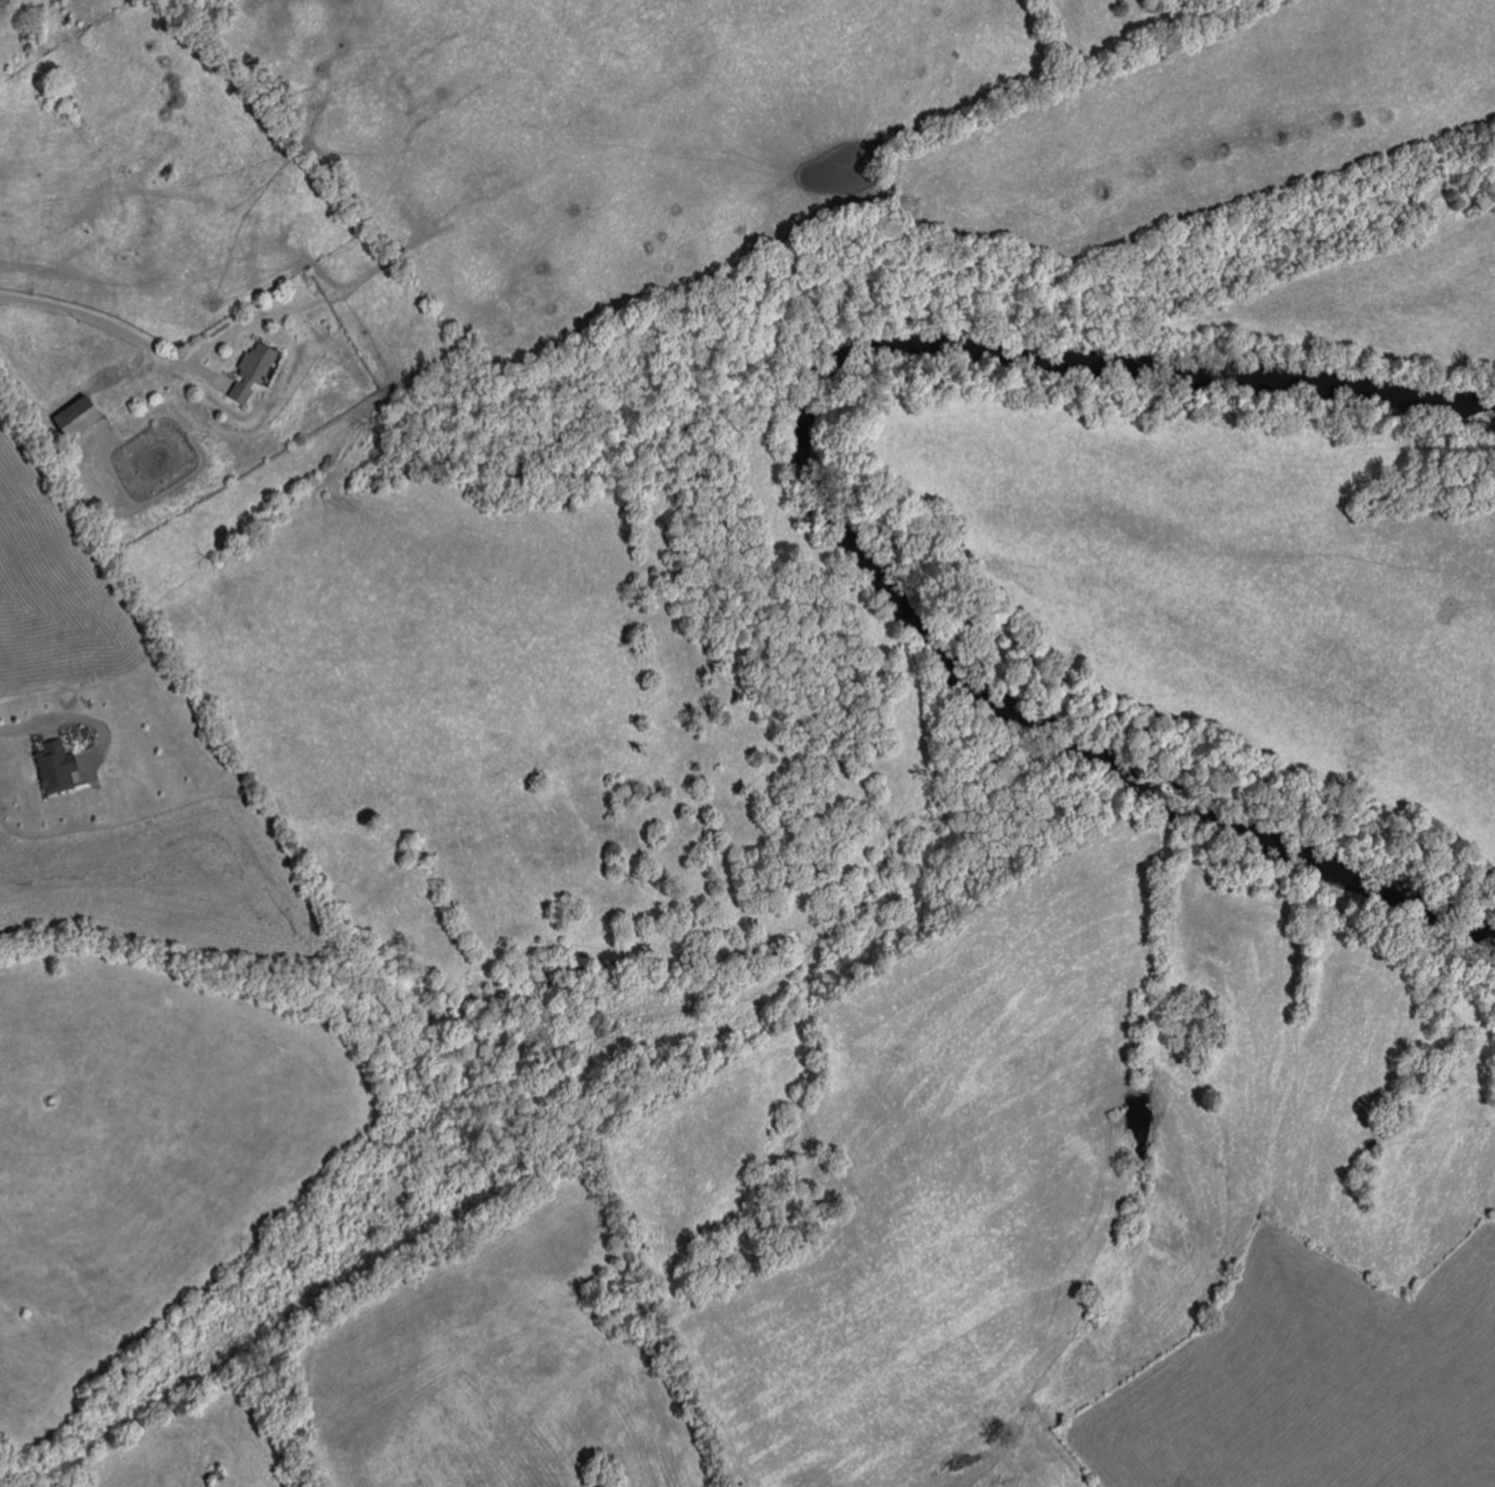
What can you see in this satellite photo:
road: (114, 323)
building: (259, 372)
building: (85, 417)
river: (812, 484)
building: (62, 769)

